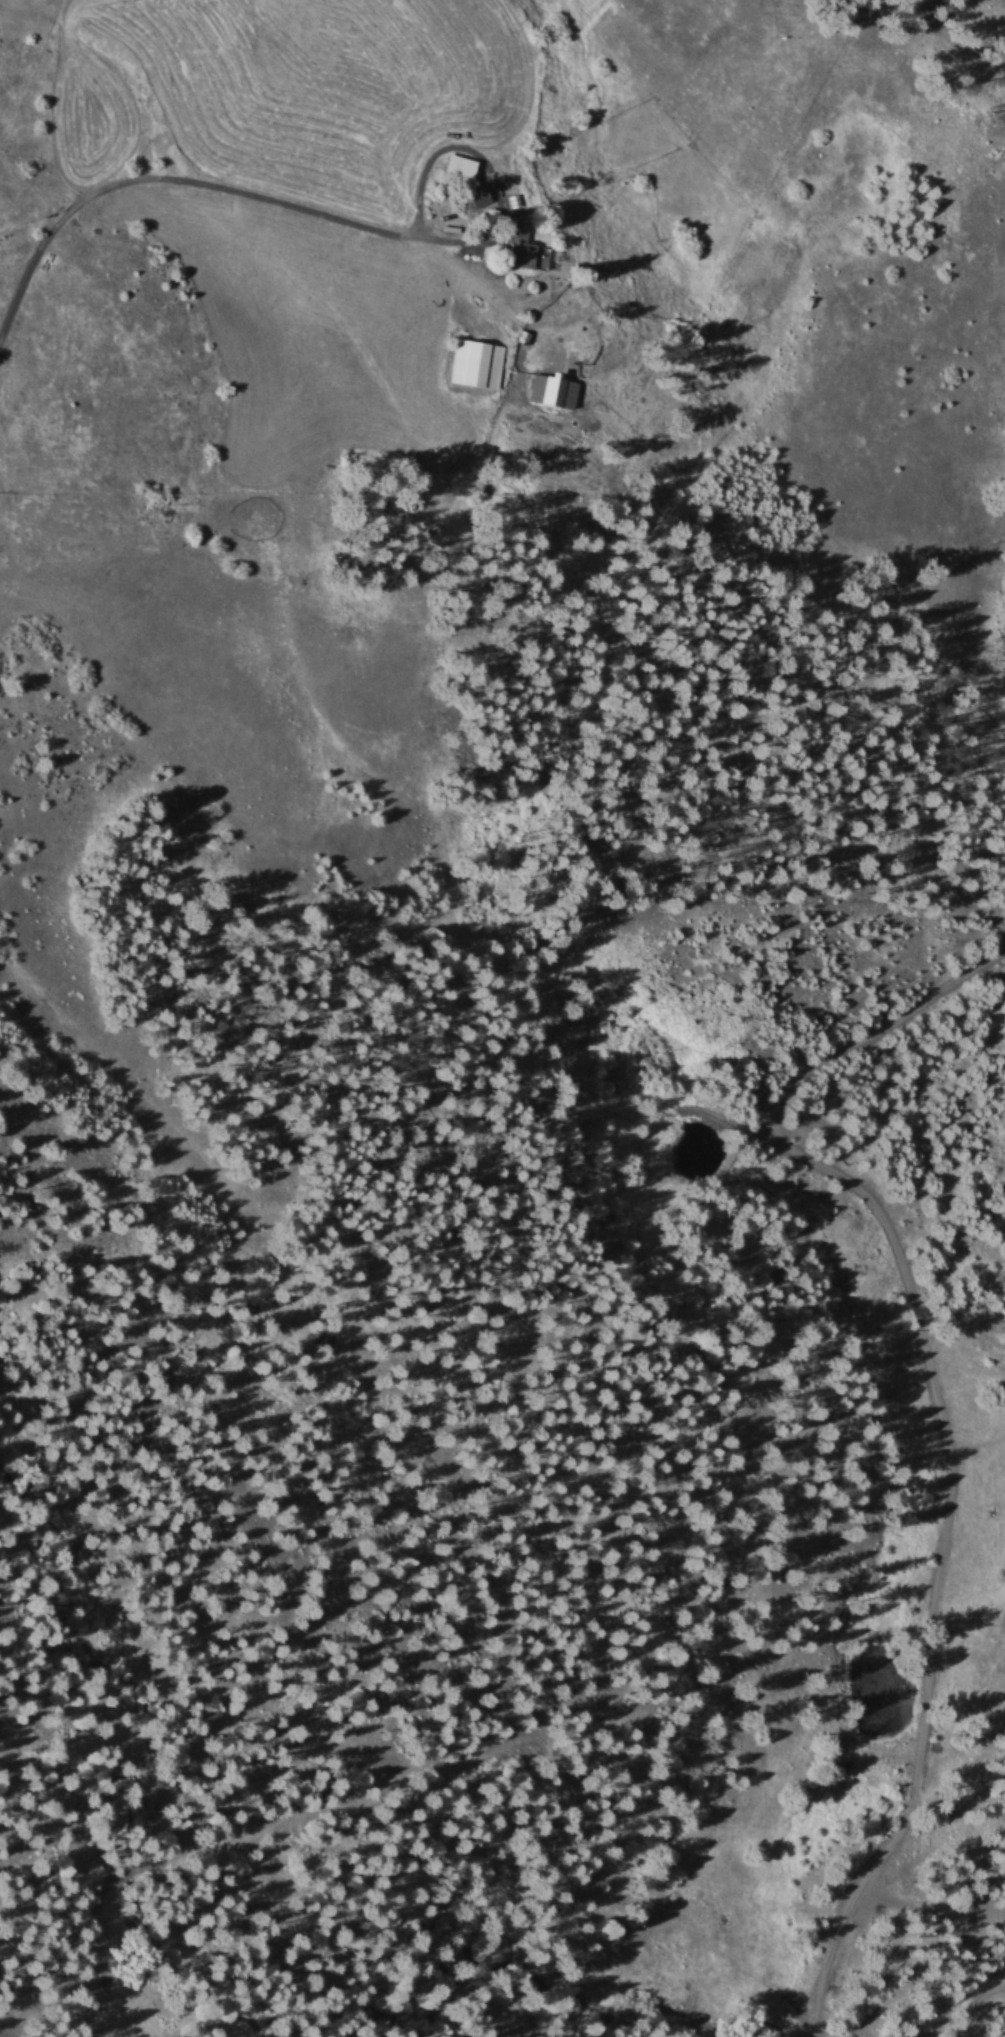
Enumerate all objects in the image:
building: (457, 165)
road: (162, 181)
building: (477, 195)
building: (518, 242)
building: (475, 363)
building: (551, 390)

